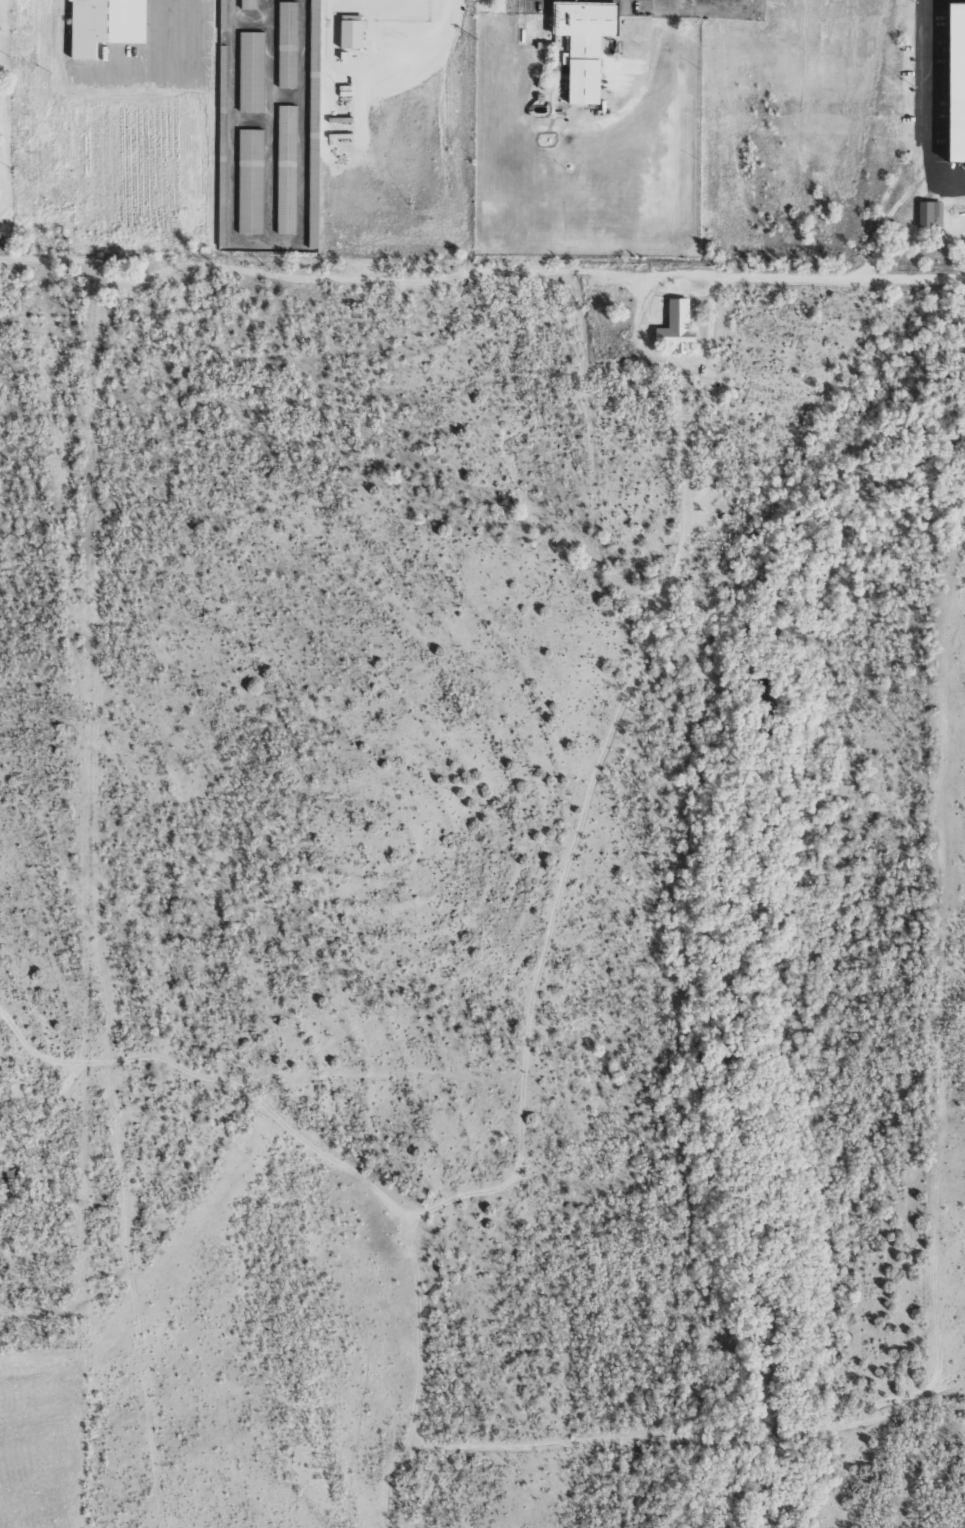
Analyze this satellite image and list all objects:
building: (251, 4)
building: (100, 25)
building: (316, 31)
building: (577, 43)
building: (289, 44)
building: (253, 70)
building: (953, 93)
building: (287, 168)
building: (252, 180)
building: (929, 212)
building: (678, 326)

